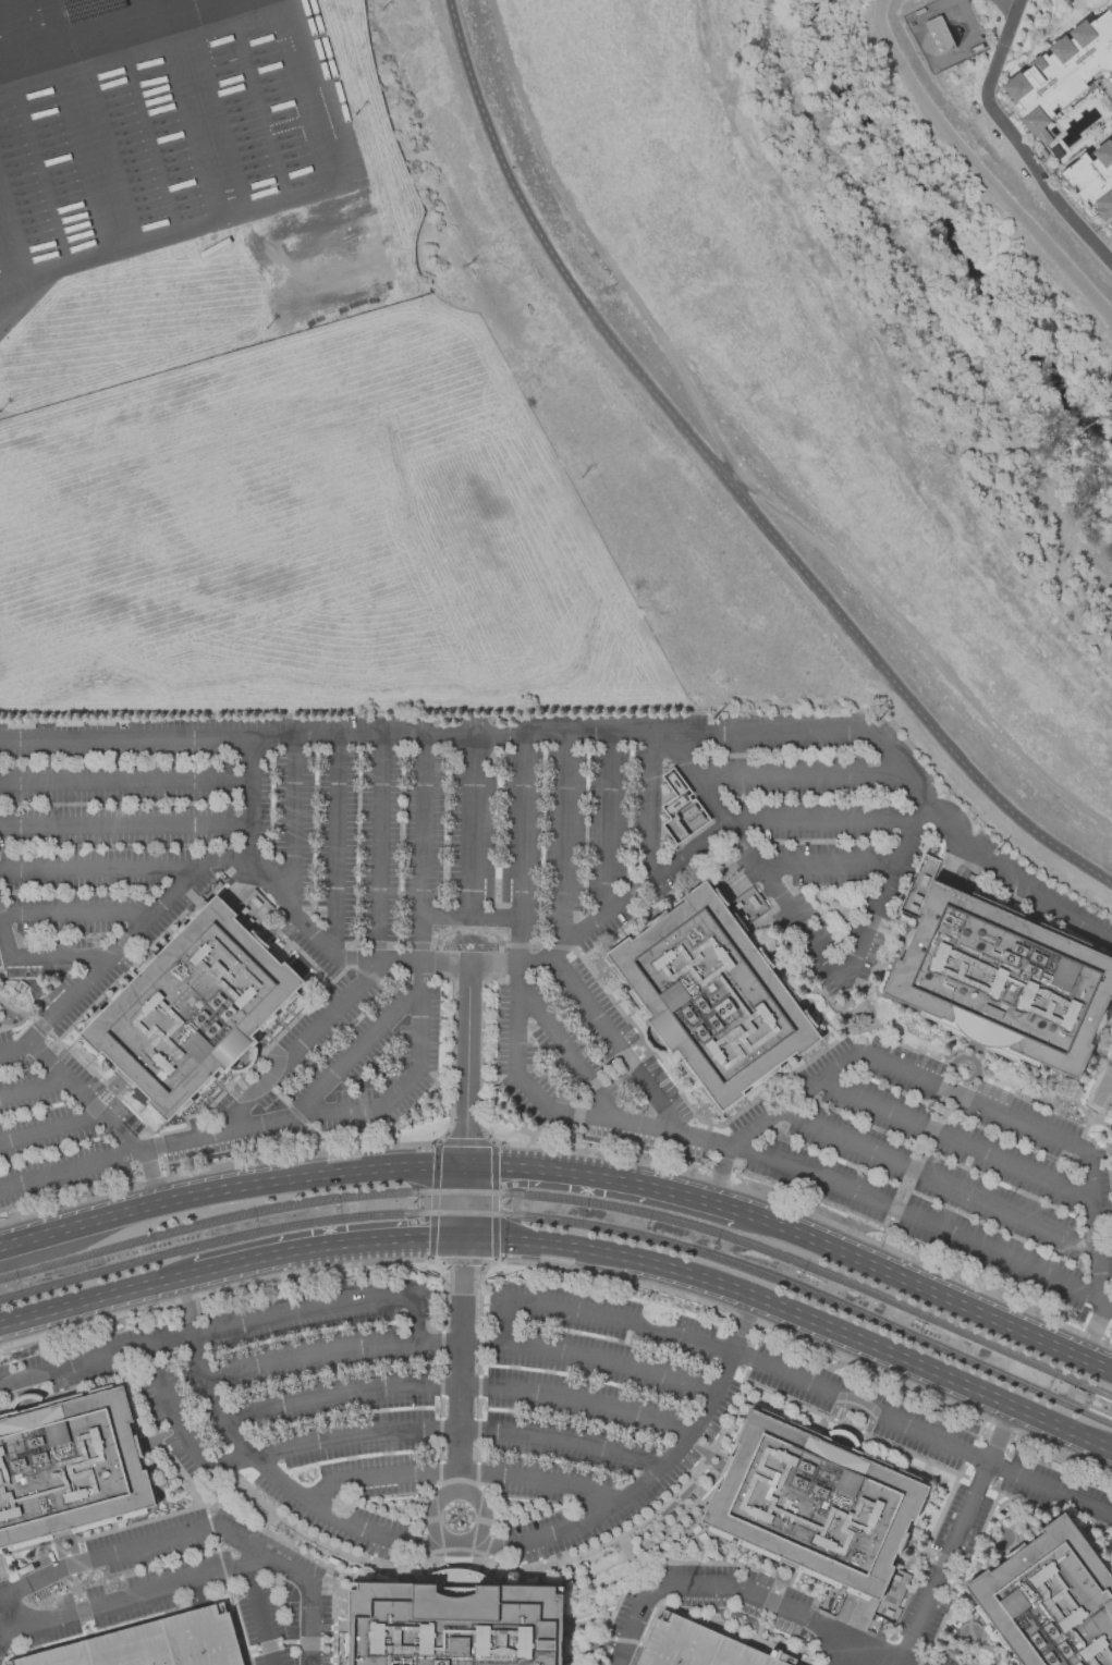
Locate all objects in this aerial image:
road: (1077, 7)
building: (90, 9)
road: (213, 9)
road: (1048, 10)
road: (1090, 14)
building: (938, 33)
road: (1043, 36)
road: (138, 40)
road: (1029, 50)
building: (1061, 71)
building: (1111, 85)
road: (1095, 107)
road: (1108, 112)
road: (1006, 113)
road: (206, 121)
building: (1042, 136)
road: (1015, 140)
road: (1098, 140)
road: (94, 155)
road: (1061, 166)
road: (977, 168)
building: (1092, 177)
road: (265, 204)
building: (1110, 223)
road: (1098, 227)
river: (942, 231)
road: (1, 277)
road: (729, 466)
road: (731, 476)
road: (431, 737)
road: (799, 778)
road: (125, 783)
road: (250, 799)
road: (926, 799)
road: (649, 809)
building: (677, 810)
road: (836, 819)
road: (606, 825)
road: (125, 827)
road: (294, 828)
road: (469, 828)
road: (561, 842)
road: (337, 846)
road: (380, 849)
road: (424, 849)
road: (518, 850)
road: (750, 856)
road: (826, 867)
road: (99, 871)
road: (645, 884)
road: (279, 897)
road: (879, 898)
road: (1048, 908)
road: (76, 916)
road: (469, 919)
road: (4, 941)
parking lot: (521, 945)
road: (119, 950)
road: (557, 957)
road: (61, 958)
road: (448, 963)
road: (840, 978)
building: (1003, 979)
building: (712, 996)
building: (192, 1008)
road: (420, 1016)
road: (513, 1021)
road: (301, 1049)
road: (565, 1052)
road: (618, 1052)
road: (355, 1055)
road: (972, 1062)
road: (71, 1085)
road: (33, 1089)
park: (1103, 1090)
road: (529, 1094)
road: (969, 1101)
road: (768, 1117)
road: (284, 1122)
road: (50, 1129)
road: (953, 1141)
road: (310, 1153)
traffic signals: (492, 1167)
road: (913, 1171)
road: (68, 1173)
road: (587, 1176)
road: (721, 1182)
road: (934, 1182)
road: (836, 1186)
road: (229, 1191)
railway: (569, 1200)
traffic signals: (462, 1203)
road: (723, 1210)
railway: (570, 1222)
road: (461, 1226)
traffic signals: (430, 1239)
road: (342, 1245)
road: (1095, 1257)
road: (203, 1273)
road: (926, 1290)
road: (89, 1301)
road: (323, 1307)
road: (795, 1314)
road: (457, 1343)
road: (95, 1360)
road: (796, 1379)
road: (457, 1387)
railway: (1090, 1404)
road: (180, 1430)
road: (456, 1431)
parking lot: (521, 1435)
road: (714, 1447)
road: (256, 1462)
building: (70, 1469)
road: (656, 1471)
road: (456, 1472)
road: (977, 1483)
road: (196, 1490)
road: (201, 1498)
road: (482, 1503)
building: (814, 1504)
road: (1060, 1507)
road: (940, 1516)
road: (1011, 1526)
road: (956, 1534)
road: (158, 1542)
road: (997, 1545)
road: (1010, 1545)
road: (337, 1550)
road: (933, 1560)
road: (221, 1564)
road: (692, 1565)
road: (953, 1582)
road: (745, 1592)
road: (198, 1593)
road: (133, 1597)
parking lot: (169, 1599)
building: (1050, 1600)
road: (4, 1608)
road: (609, 1614)
road: (258, 1615)
building: (454, 1621)
road: (86, 1625)
road: (307, 1625)
road: (726, 1631)
road: (938, 1631)
building: (155, 1643)
parking garage: (155, 1643)
building: (696, 1646)
parking garage: (696, 1646)
road: (785, 1650)
road: (954, 1655)
road: (892, 1661)

